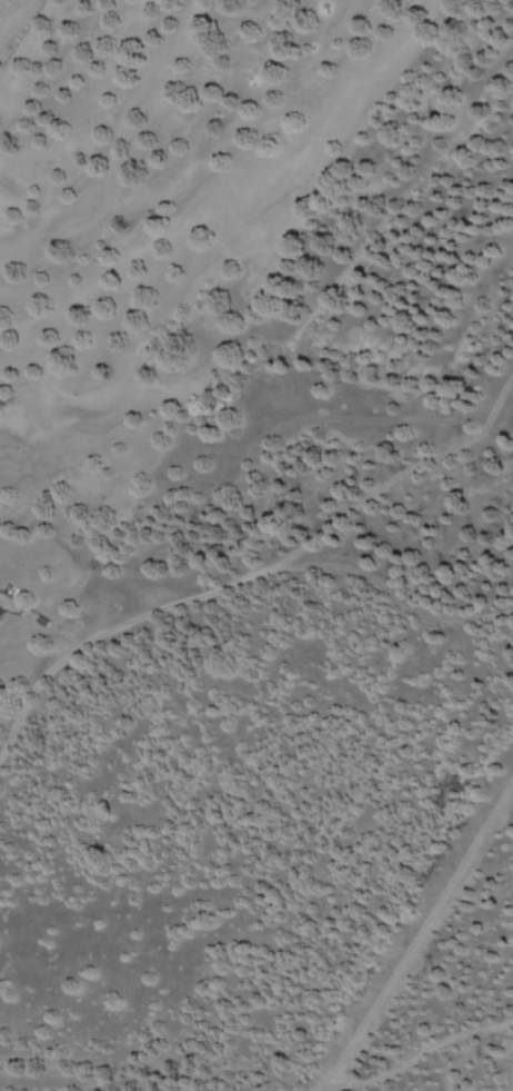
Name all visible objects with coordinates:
building: (1, 613)

